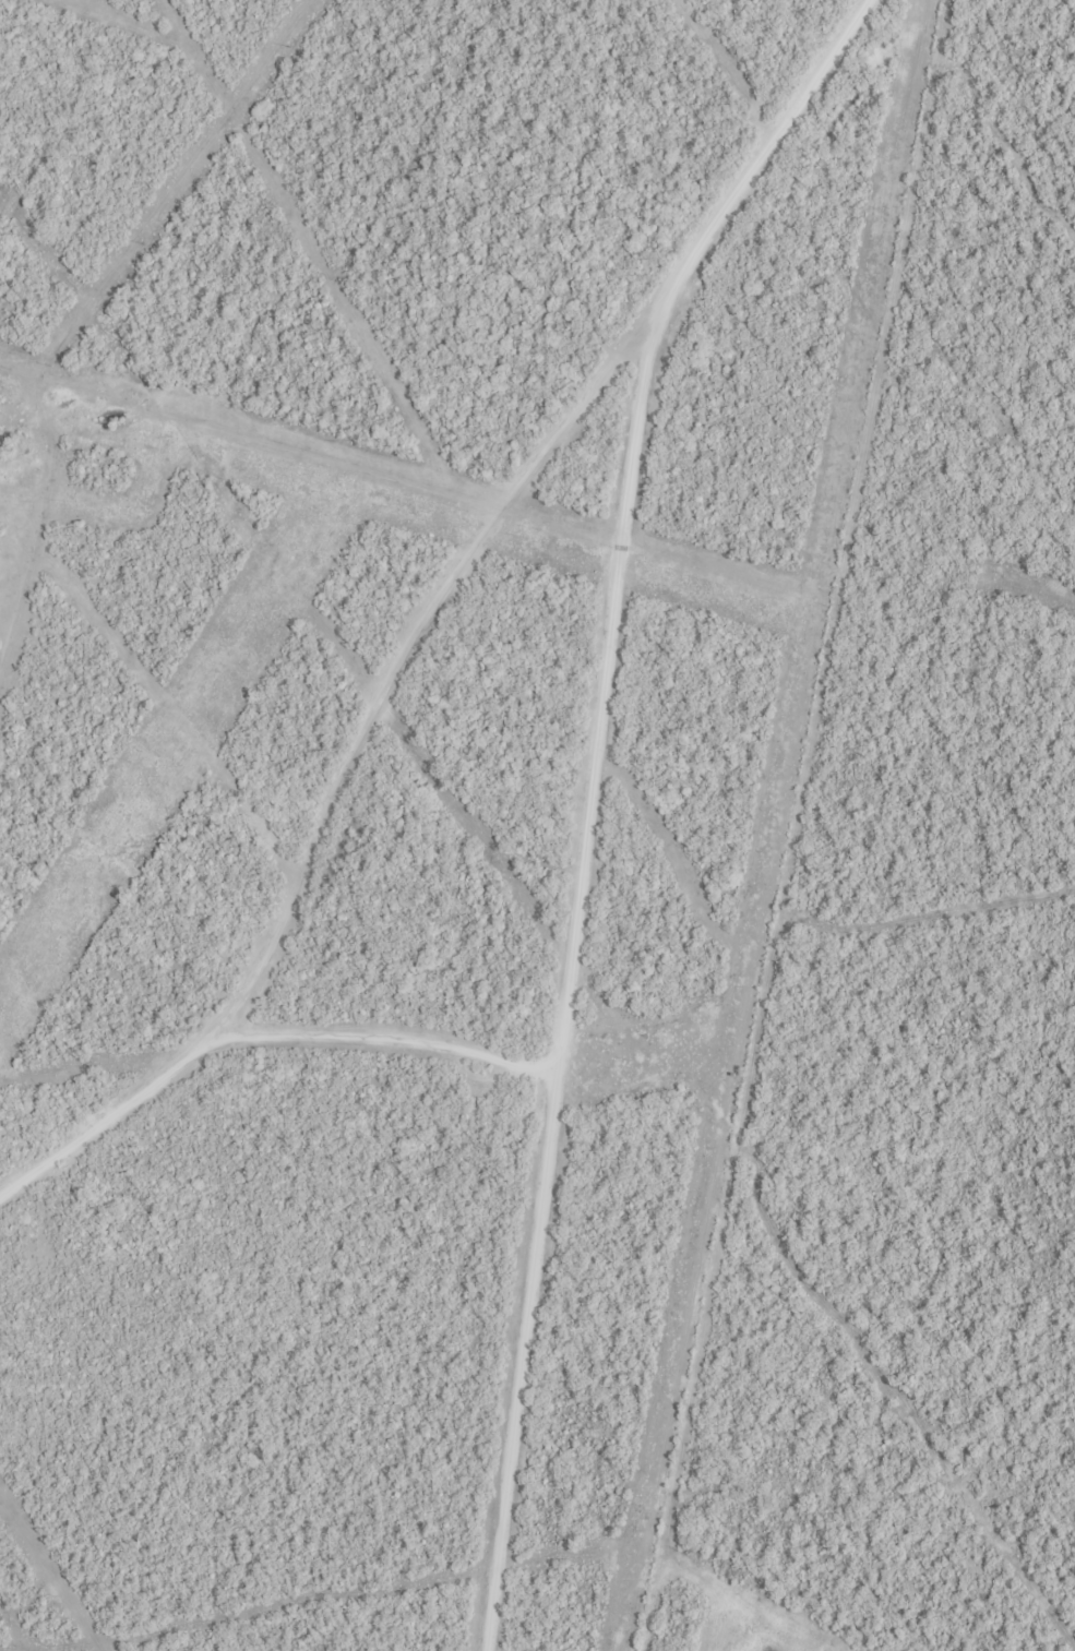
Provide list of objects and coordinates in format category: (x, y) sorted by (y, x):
road: (763, 188)
road: (366, 804)
road: (584, 1016)
road: (403, 1040)

